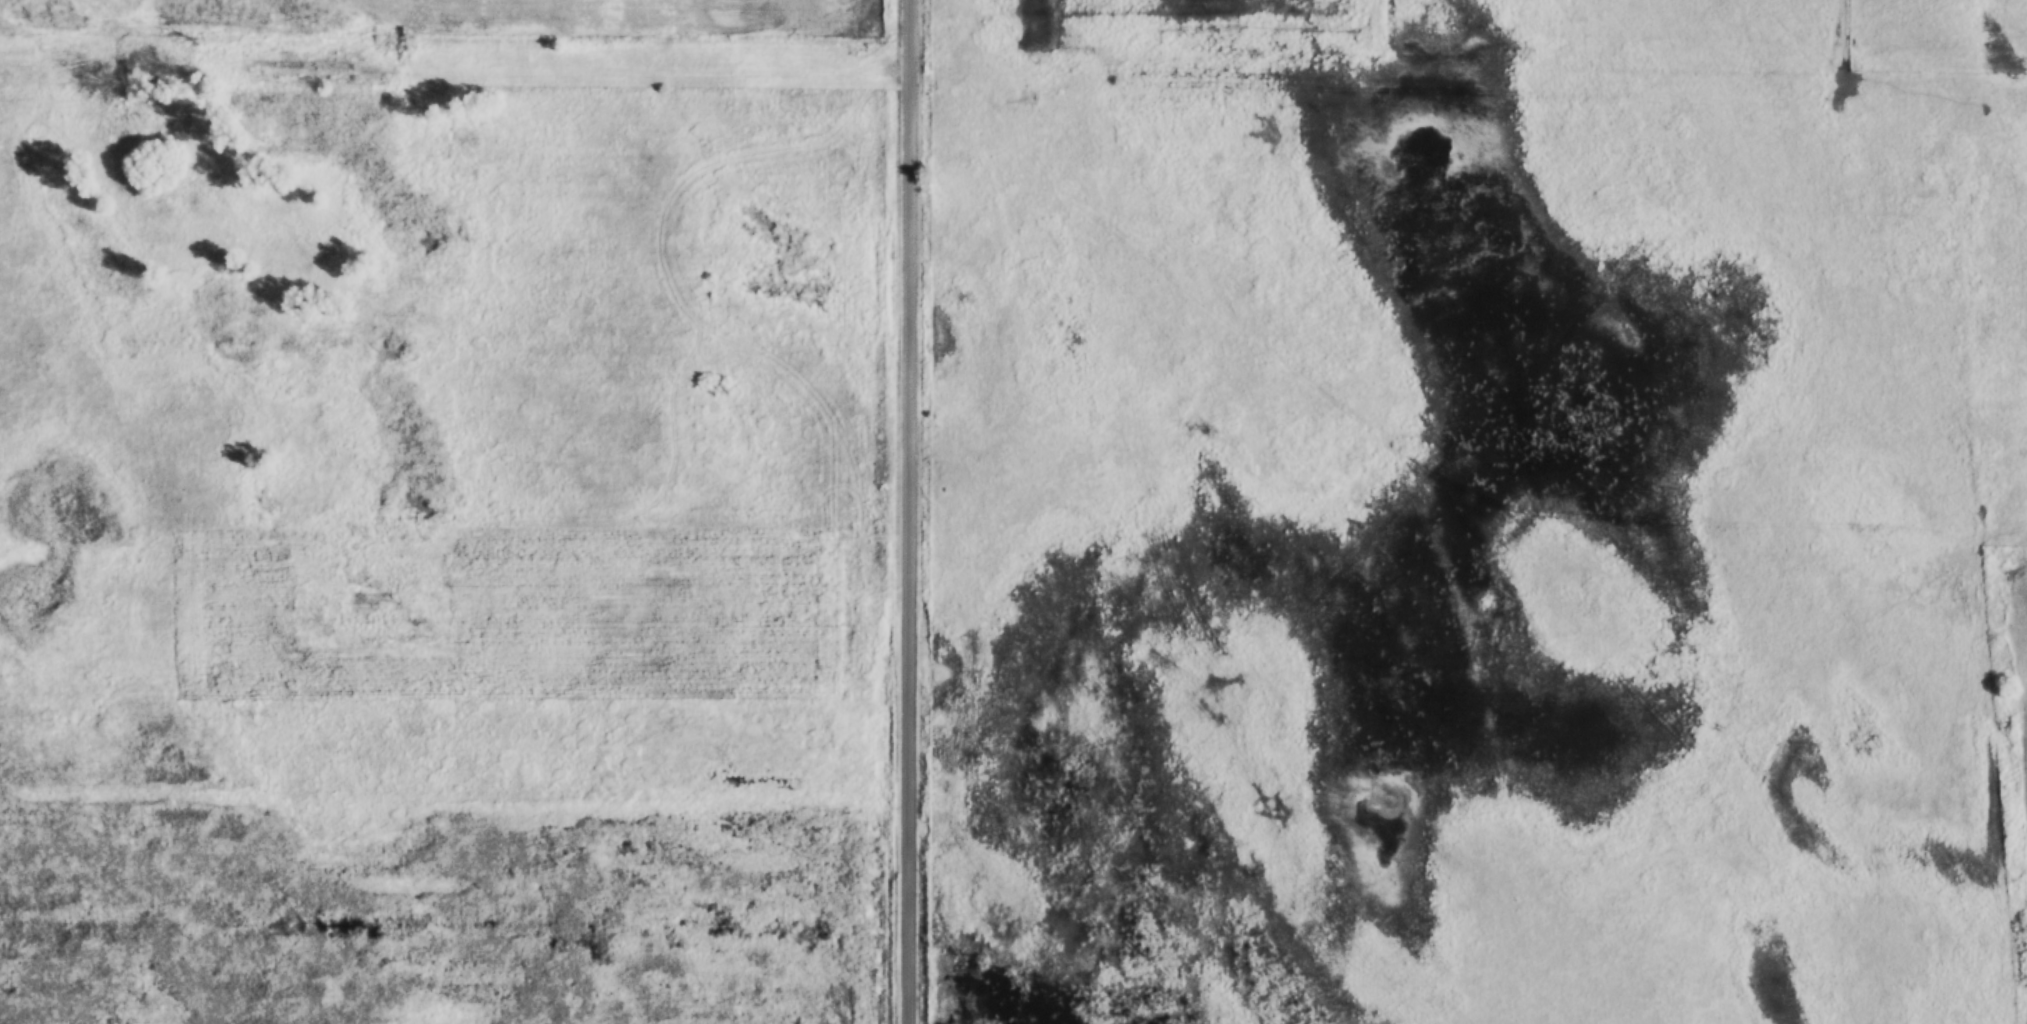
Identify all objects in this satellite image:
road: (453, 75)
road: (1468, 94)
road: (1422, 476)
road: (908, 511)

